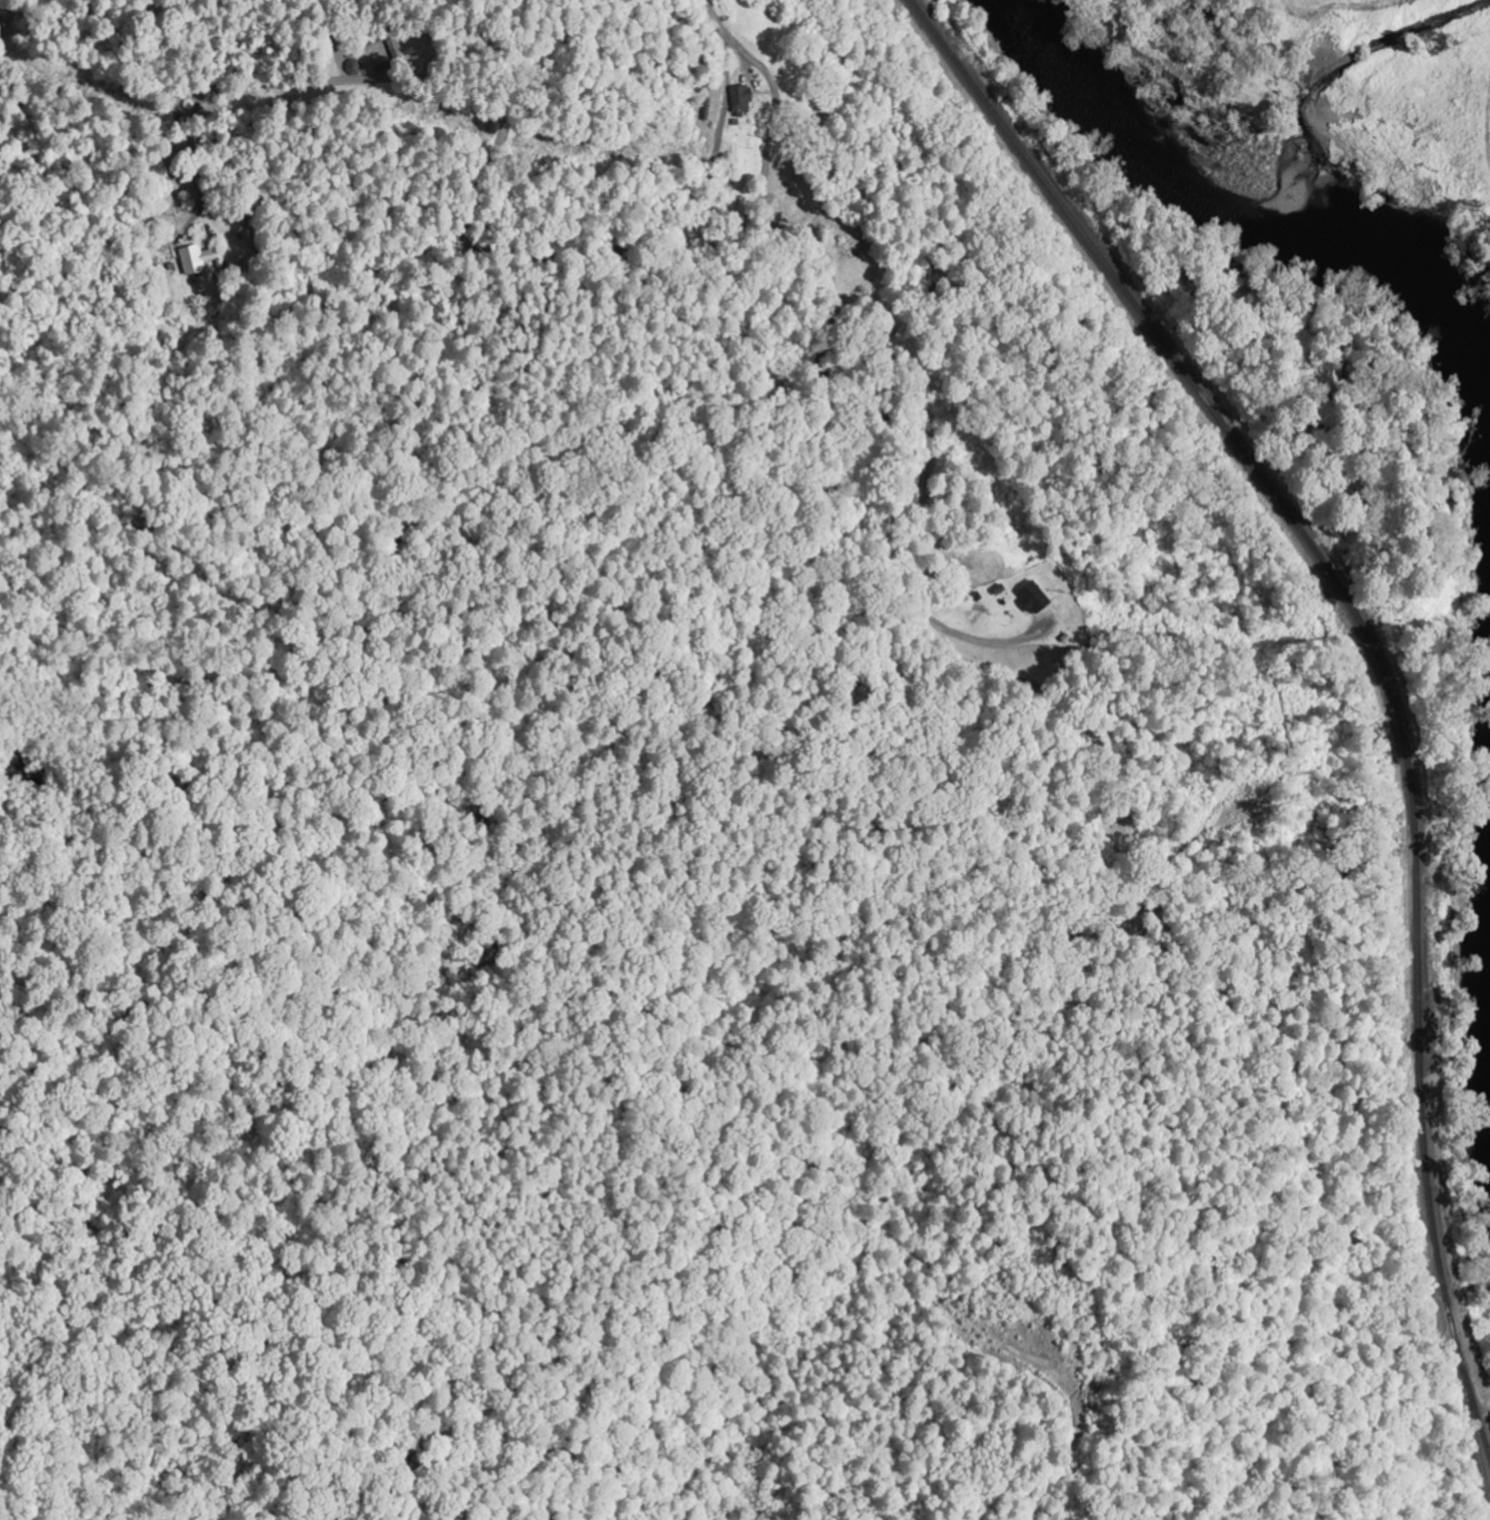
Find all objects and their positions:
building: (740, 99)
river: (1306, 184)
building: (195, 259)
road: (842, 382)
building: (1031, 597)
railway: (1378, 658)
railway: (1471, 1419)

